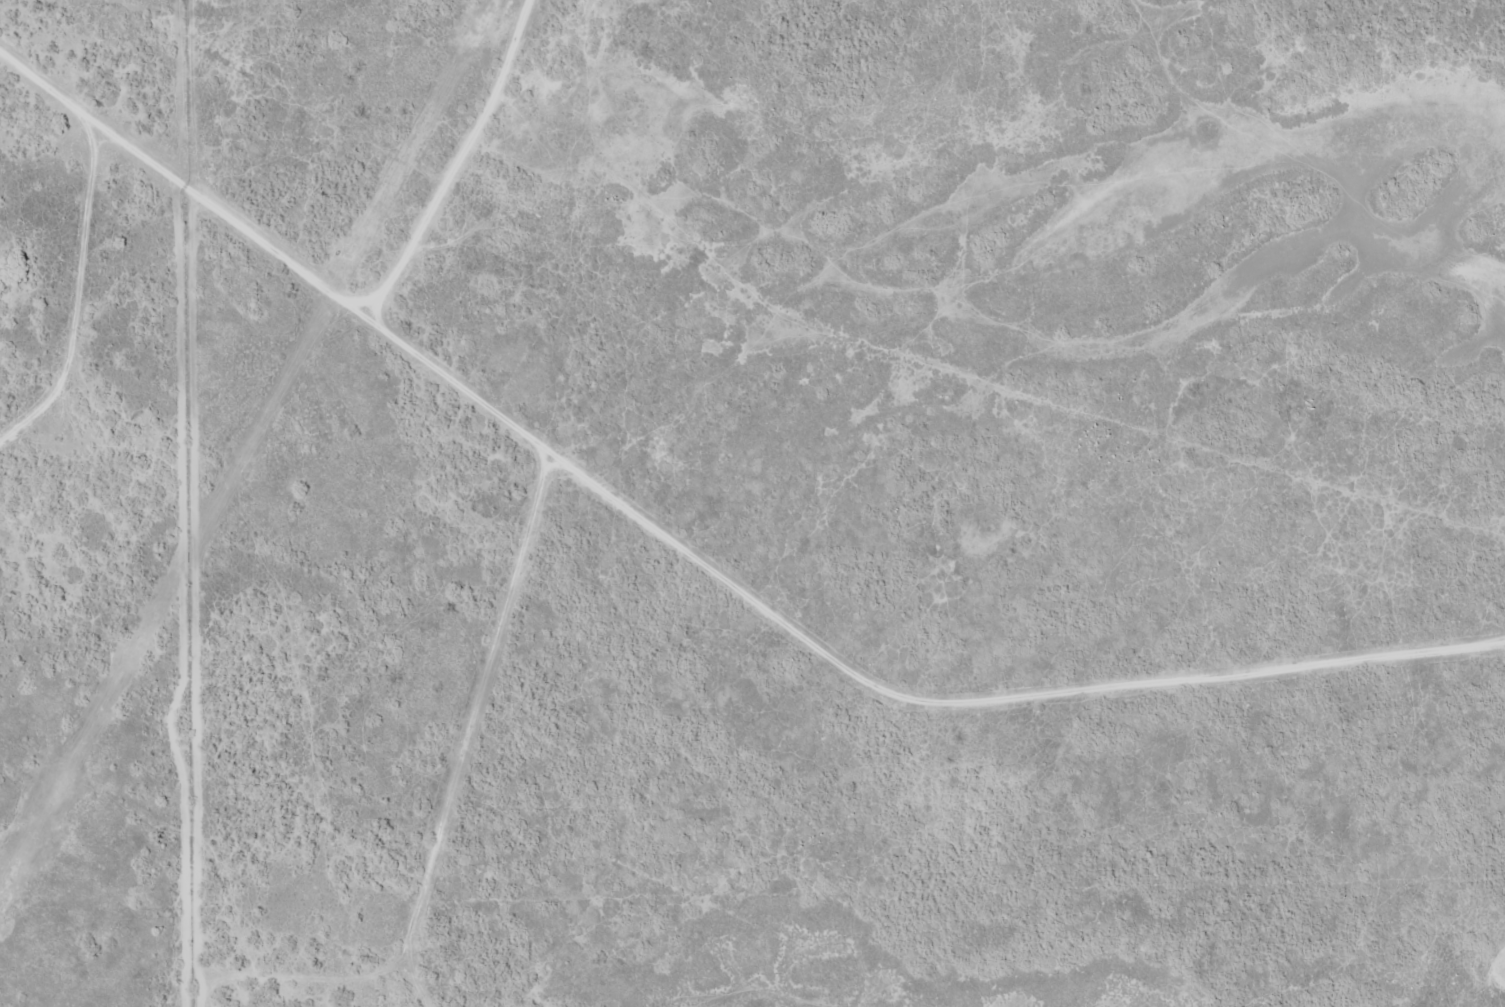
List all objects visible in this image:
road: (476, 383)

